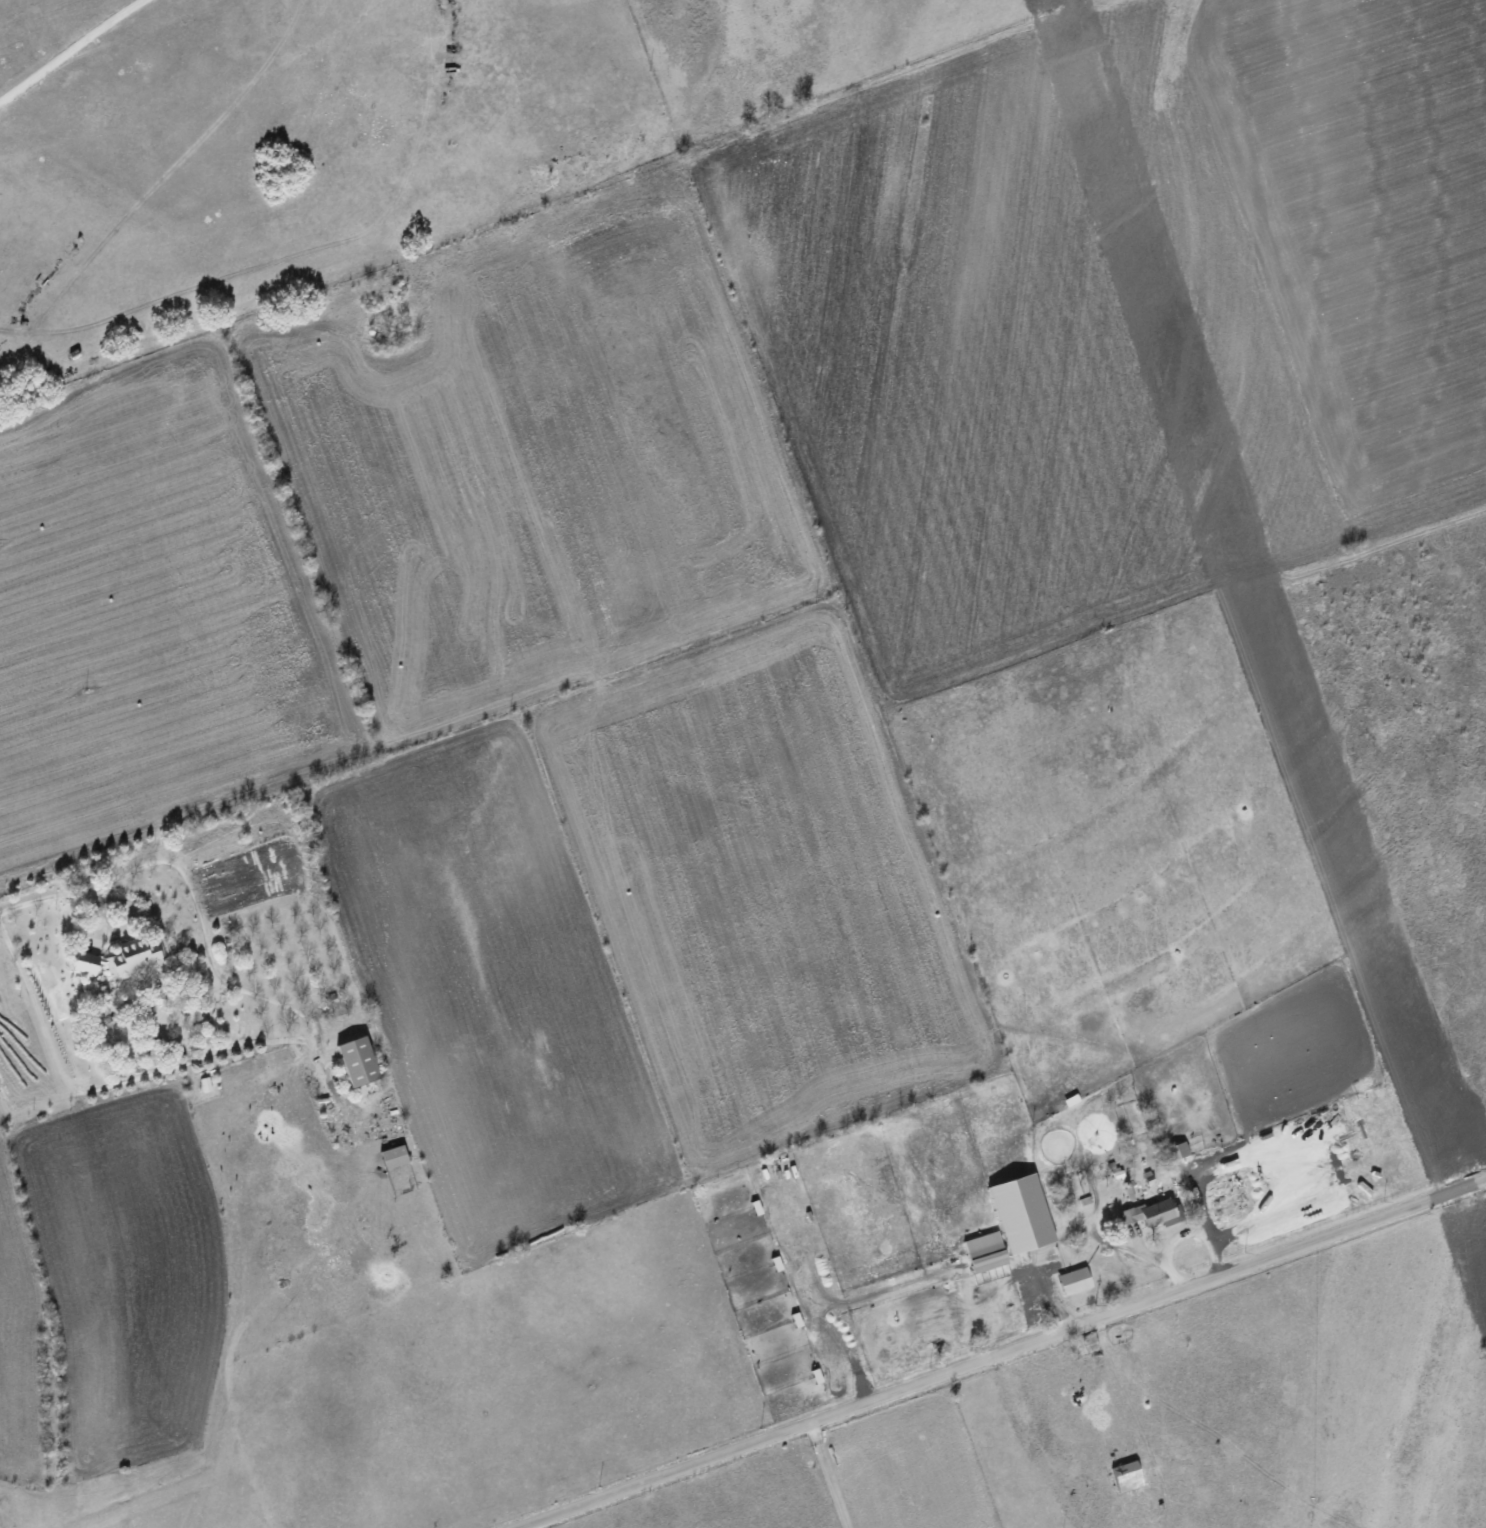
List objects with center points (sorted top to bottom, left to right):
road: (80, 52)
road: (59, 895)
road: (208, 947)
building: (123, 960)
building: (360, 1061)
road: (108, 1086)
building: (1177, 1151)
building: (395, 1156)
building: (1024, 1214)
building: (987, 1252)
building: (1076, 1281)
road: (1001, 1353)
road: (813, 1434)
building: (1129, 1476)
road: (832, 1486)

